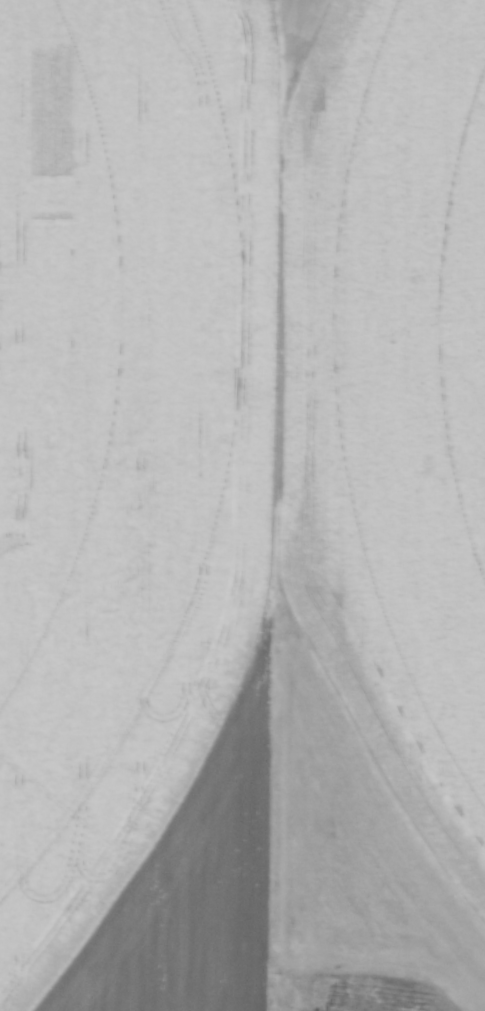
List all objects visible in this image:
crop: (242, 505)

